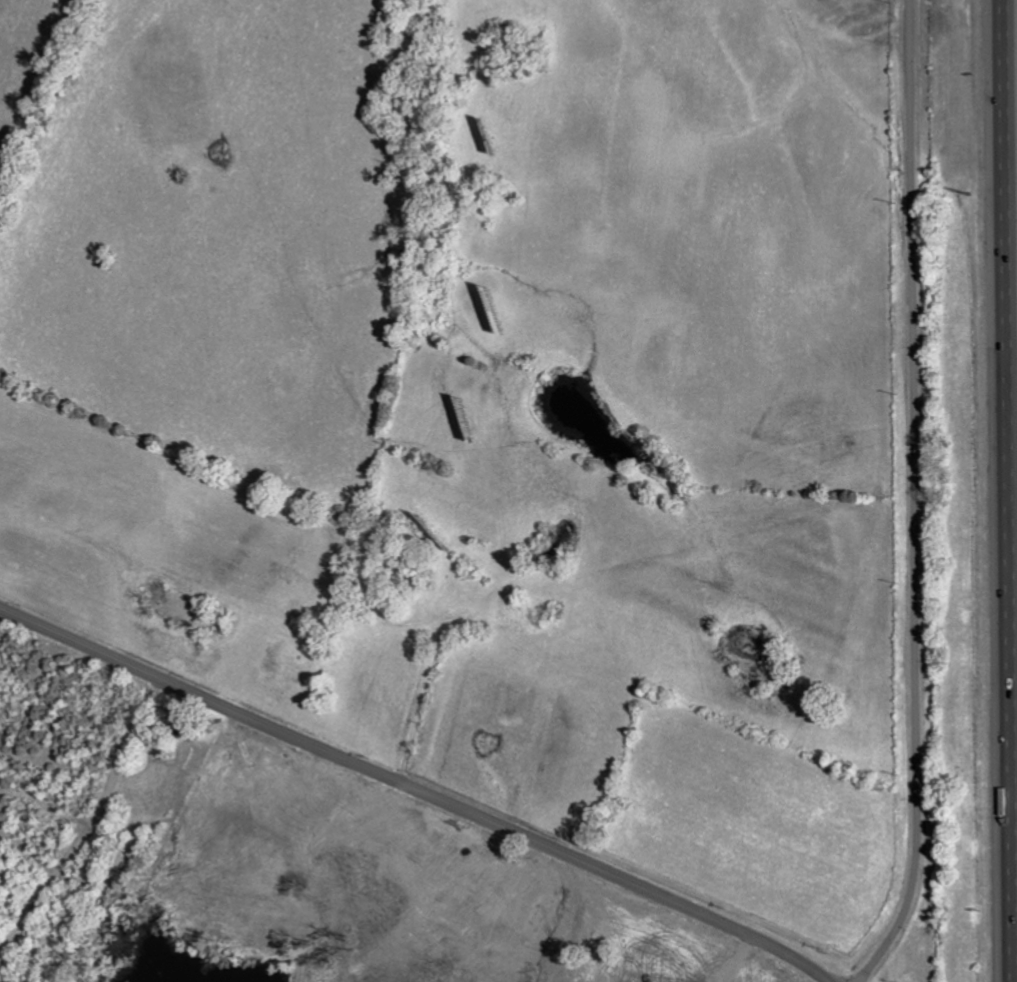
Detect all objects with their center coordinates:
road: (3, 12)
road: (997, 491)
road: (915, 498)
road: (417, 789)

